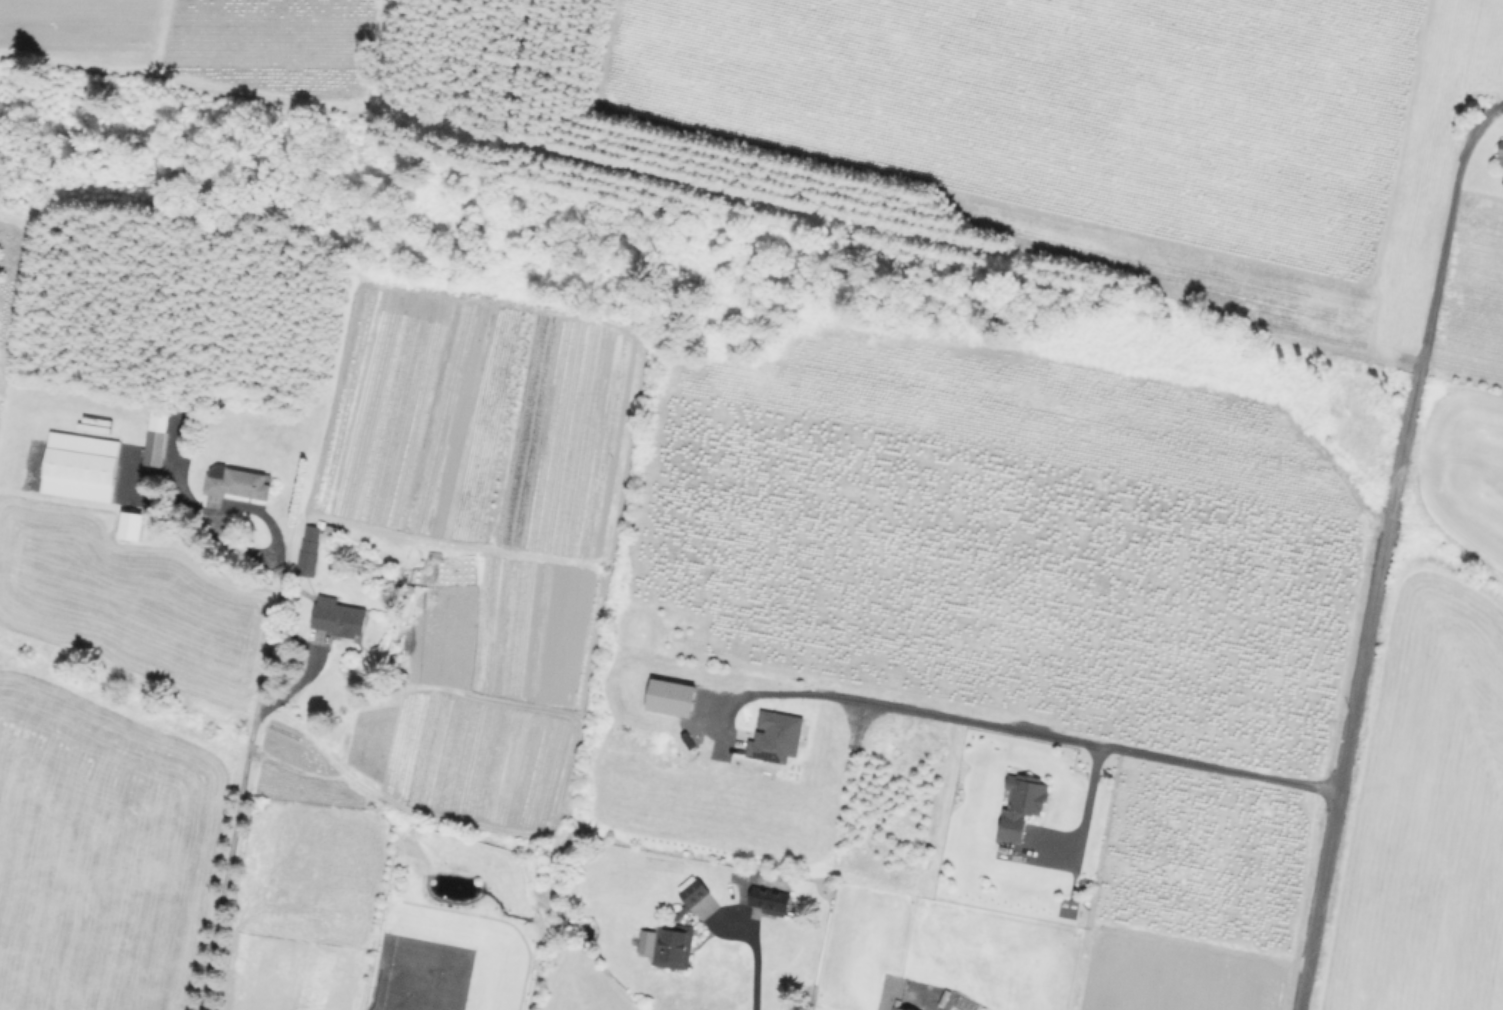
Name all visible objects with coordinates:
building: (1502, 156)
road: (1443, 249)
building: (153, 437)
building: (78, 469)
building: (240, 484)
road: (223, 516)
building: (129, 528)
building: (310, 550)
building: (339, 617)
road: (1354, 705)
road: (1020, 729)
road: (245, 782)
road: (1083, 824)
building: (771, 901)
building: (679, 930)
road: (758, 964)
building: (890, 1009)
building: (897, 1009)

